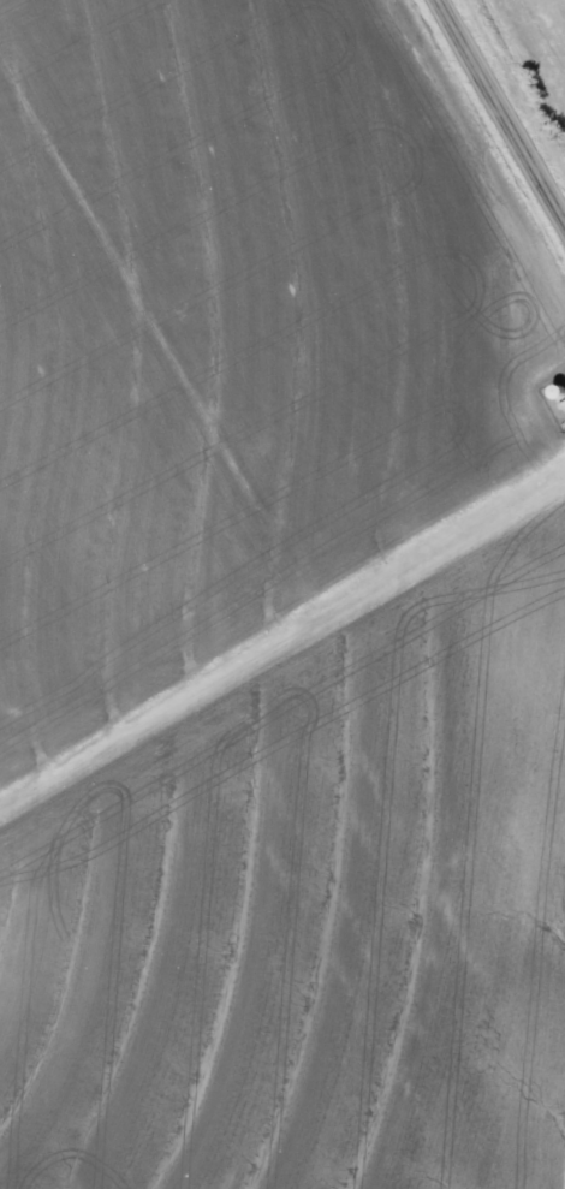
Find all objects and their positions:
road: (504, 102)

